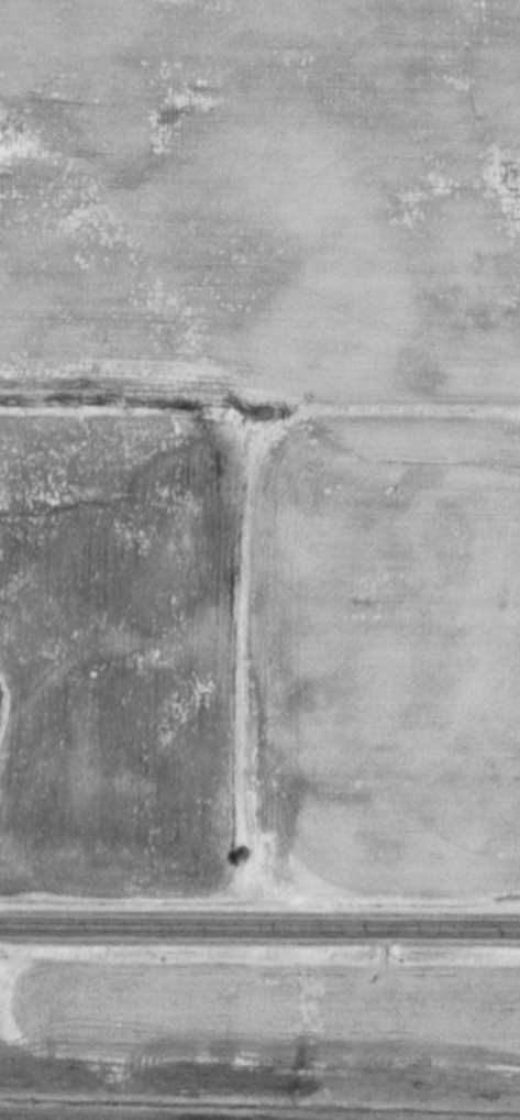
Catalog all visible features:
road: (259, 926)

